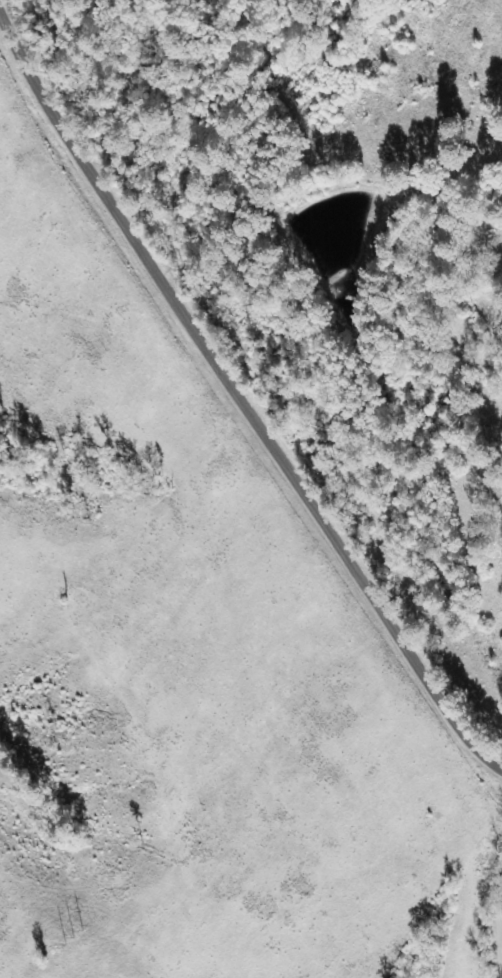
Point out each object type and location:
road: (234, 391)
power tower: (74, 934)

